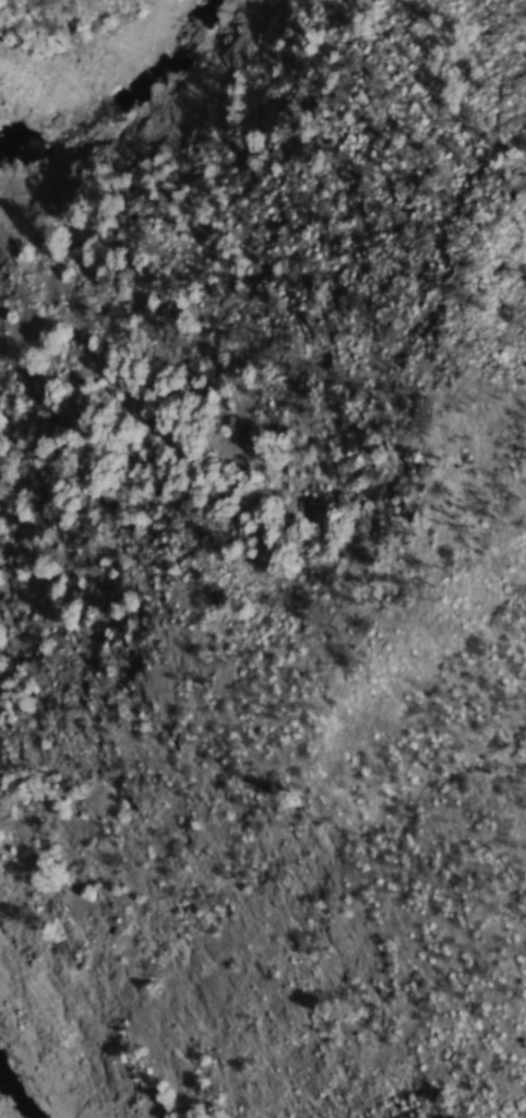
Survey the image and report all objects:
river: (25, 1079)

